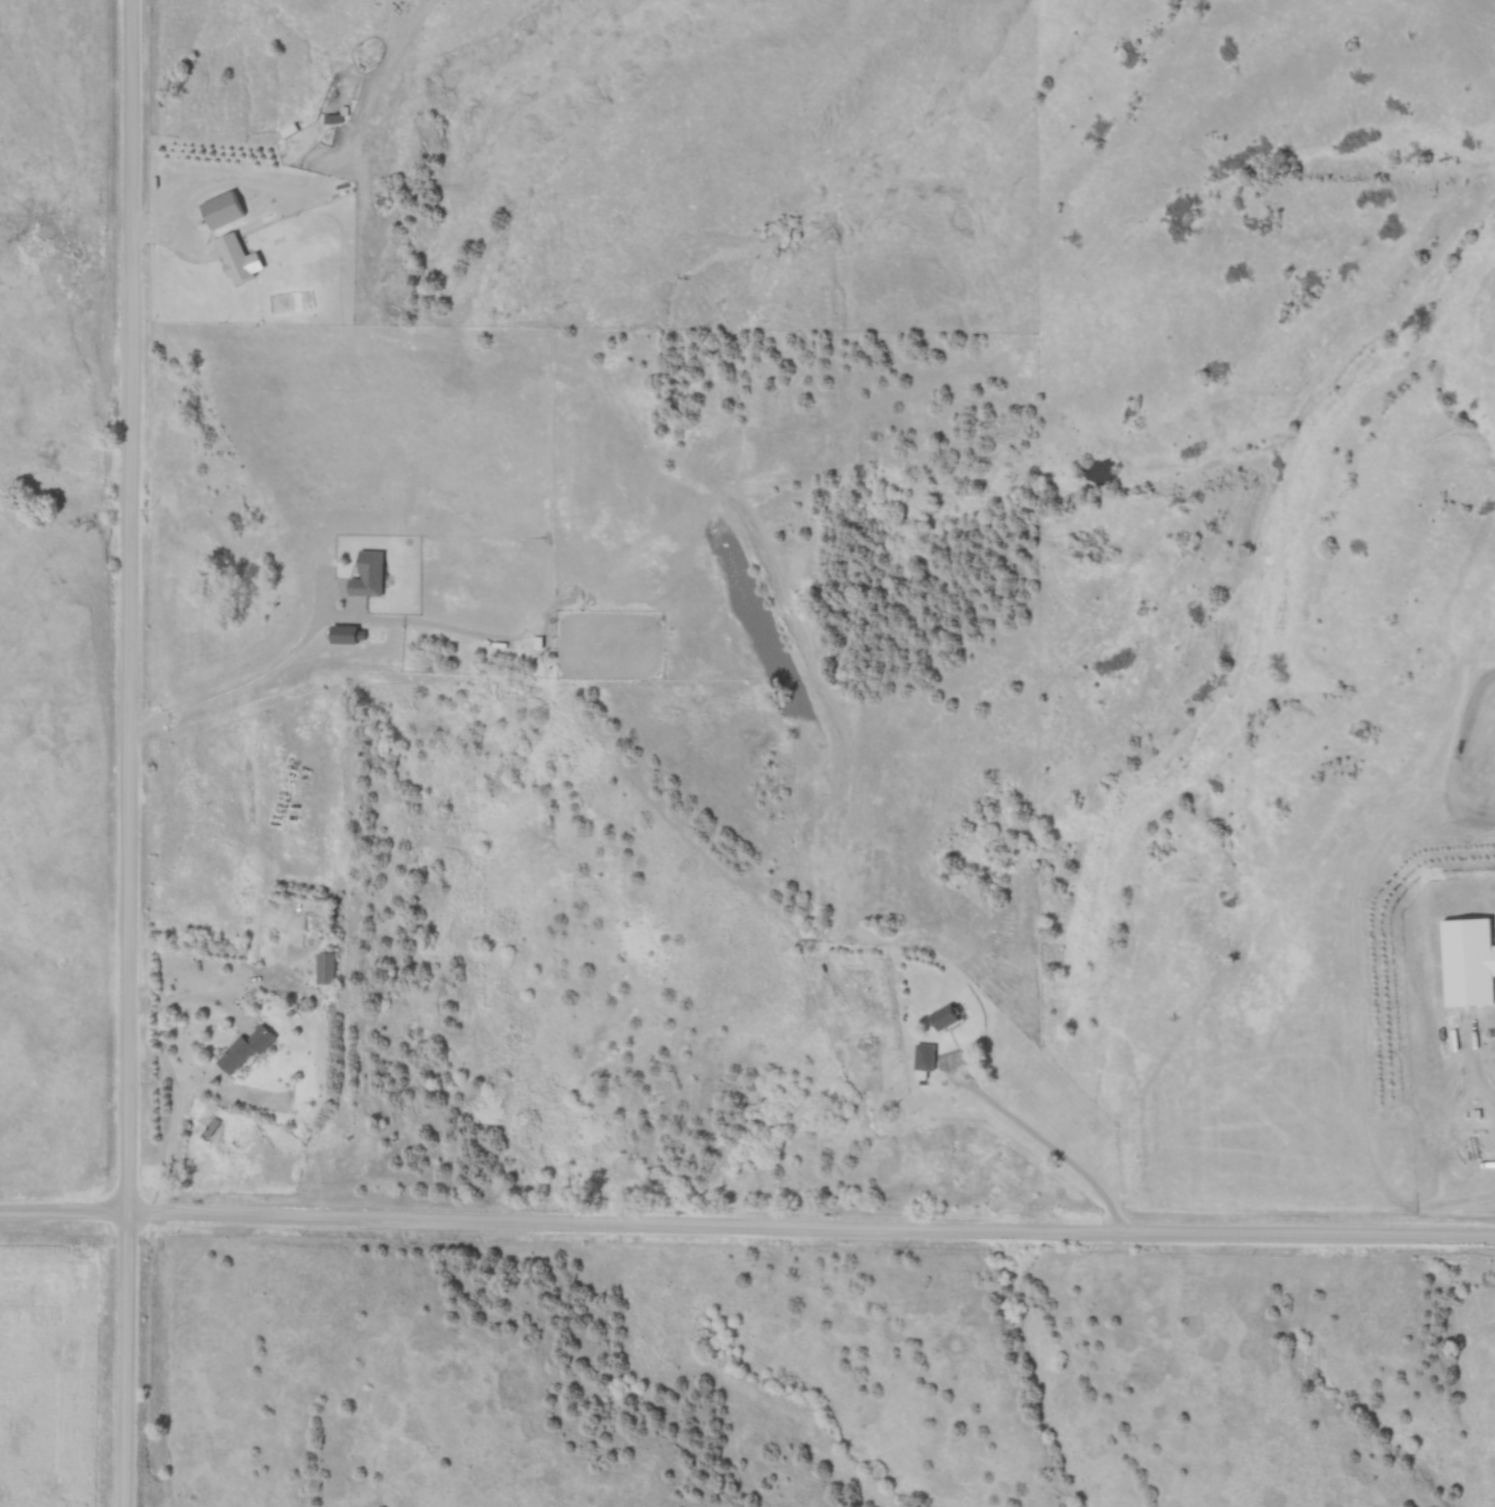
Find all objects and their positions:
building: (332, 119)
building: (221, 211)
building: (233, 259)
building: (367, 575)
road: (240, 683)
road: (127, 753)
building: (1467, 961)
building: (325, 968)
road: (188, 1004)
building: (944, 1018)
building: (244, 1049)
building: (923, 1057)
road: (1033, 1143)
road: (747, 1232)

